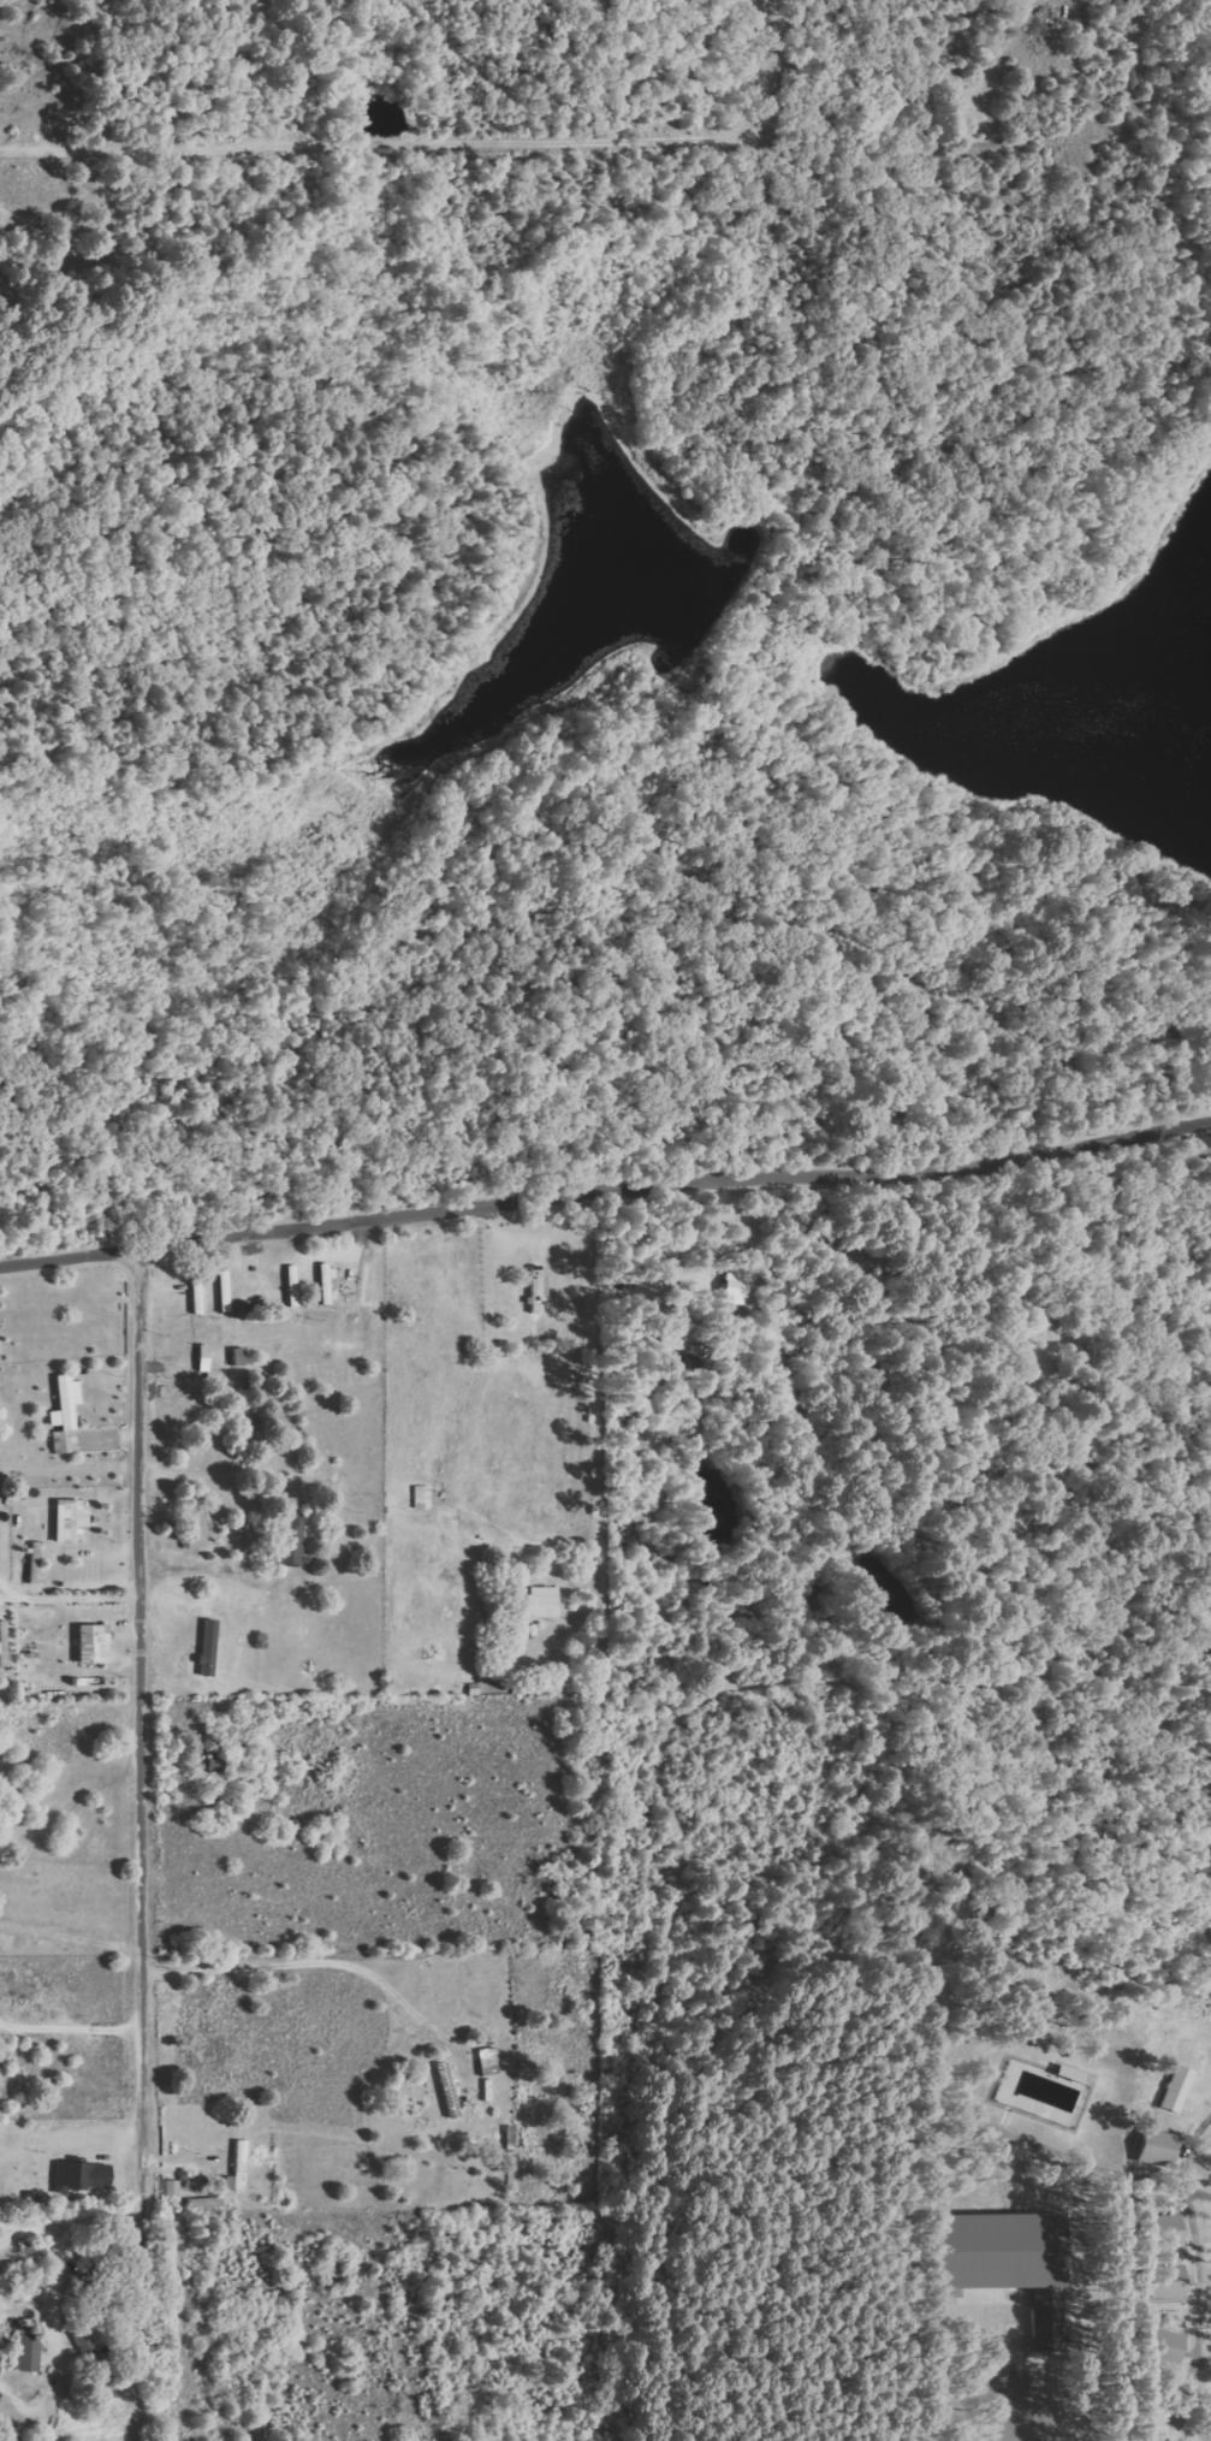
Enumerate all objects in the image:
road: (605, 1192)
building: (737, 1288)
building: (65, 1415)
building: (70, 1519)
building: (290, 1540)
building: (545, 1601)
building: (94, 1642)
building: (208, 1647)
road: (141, 1720)
building: (488, 2061)
building: (1177, 2089)
building: (1158, 2147)
building: (238, 2168)
building: (82, 2178)
building: (173, 2187)
building: (1163, 2232)
building: (1010, 2257)
building: (1168, 2282)
building: (1165, 2346)
building: (29, 2352)

